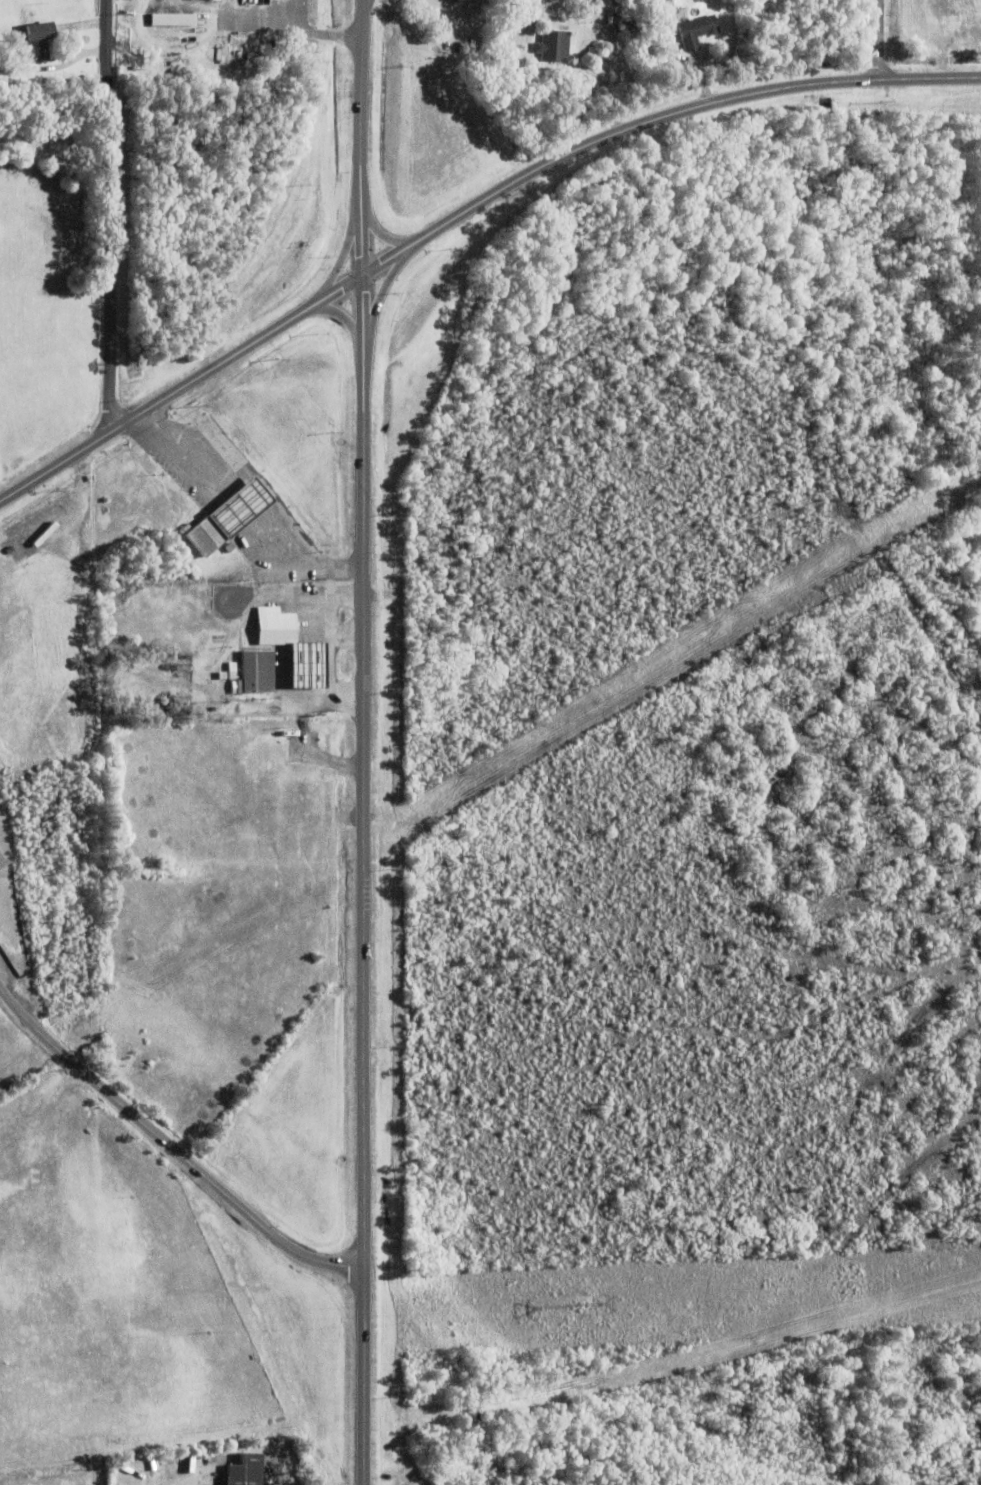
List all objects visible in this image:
building: (204, 1)
building: (611, 4)
building: (577, 18)
building: (173, 22)
building: (630, 30)
building: (695, 34)
road: (879, 39)
building: (170, 40)
building: (38, 43)
building: (550, 45)
building: (240, 57)
road: (54, 60)
building: (258, 79)
road: (364, 100)
road: (463, 213)
road: (112, 215)
road: (385, 231)
road: (345, 255)
road: (385, 291)
road: (349, 317)
road: (183, 454)
road: (240, 502)
building: (228, 513)
building: (166, 524)
building: (183, 527)
building: (33, 549)
road: (298, 560)
building: (291, 644)
building: (114, 668)
building: (232, 669)
building: (254, 671)
building: (135, 689)
building: (141, 693)
building: (288, 725)
road: (365, 842)
building: (1, 859)
building: (1, 865)
road: (170, 1143)
power tower: (581, 1304)
building: (245, 1470)

